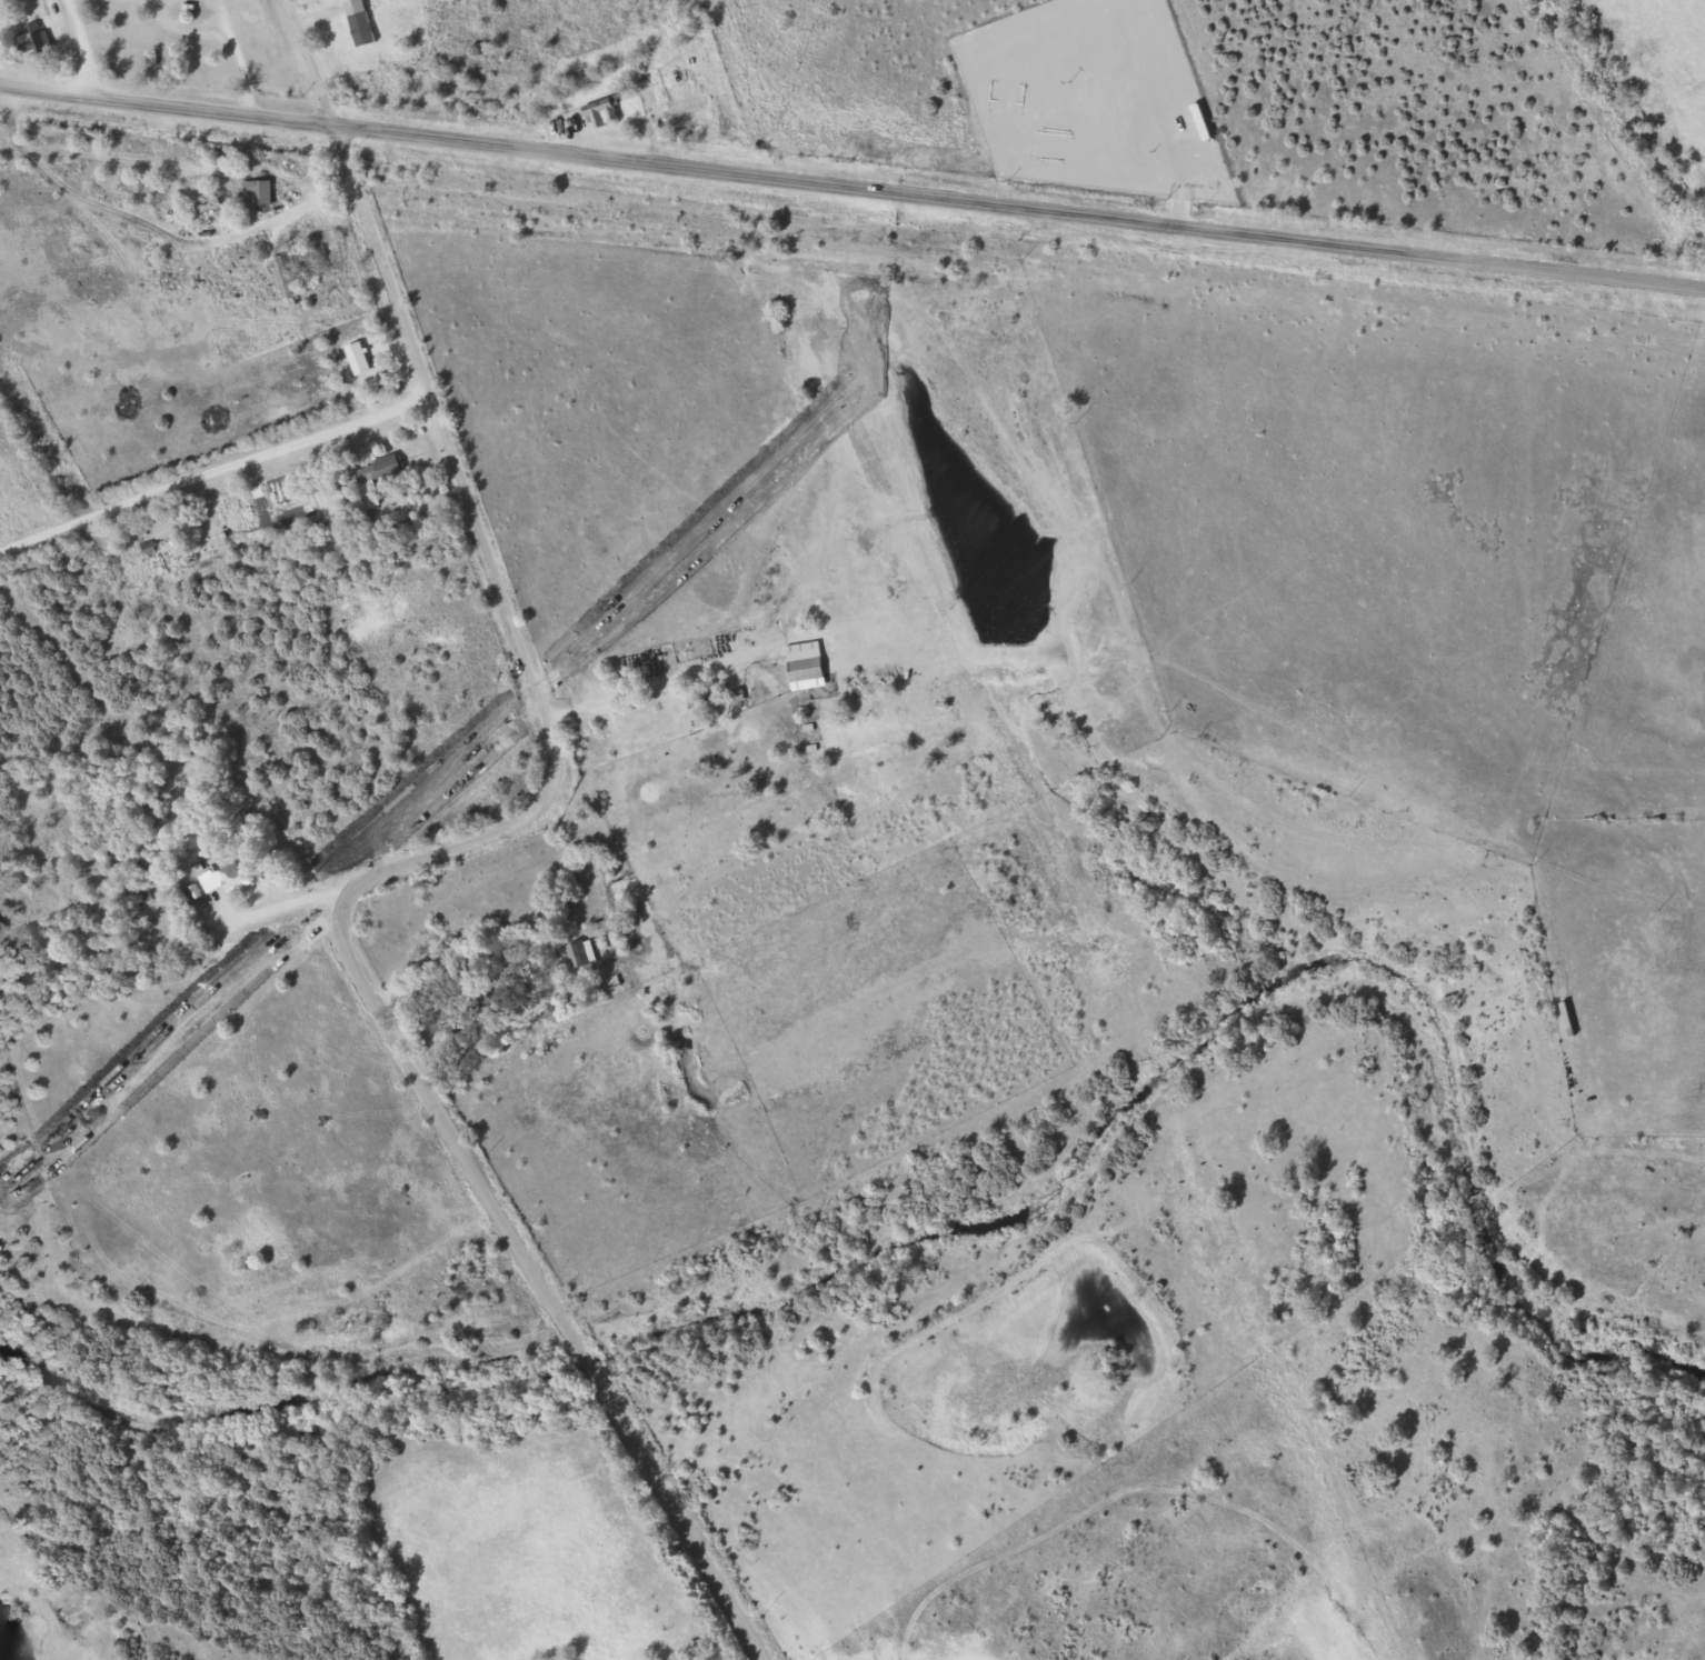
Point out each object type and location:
building: (358, 19)
building: (27, 32)
building: (399, 36)
road: (81, 47)
road: (167, 101)
building: (597, 101)
building: (256, 190)
road: (1019, 202)
railway: (852, 254)
building: (281, 273)
road: (428, 376)
road: (213, 458)
building: (379, 476)
building: (171, 517)
building: (801, 669)
road: (441, 843)
building: (228, 867)
road: (276, 900)
building: (493, 989)
road: (456, 1146)
road: (676, 1509)

